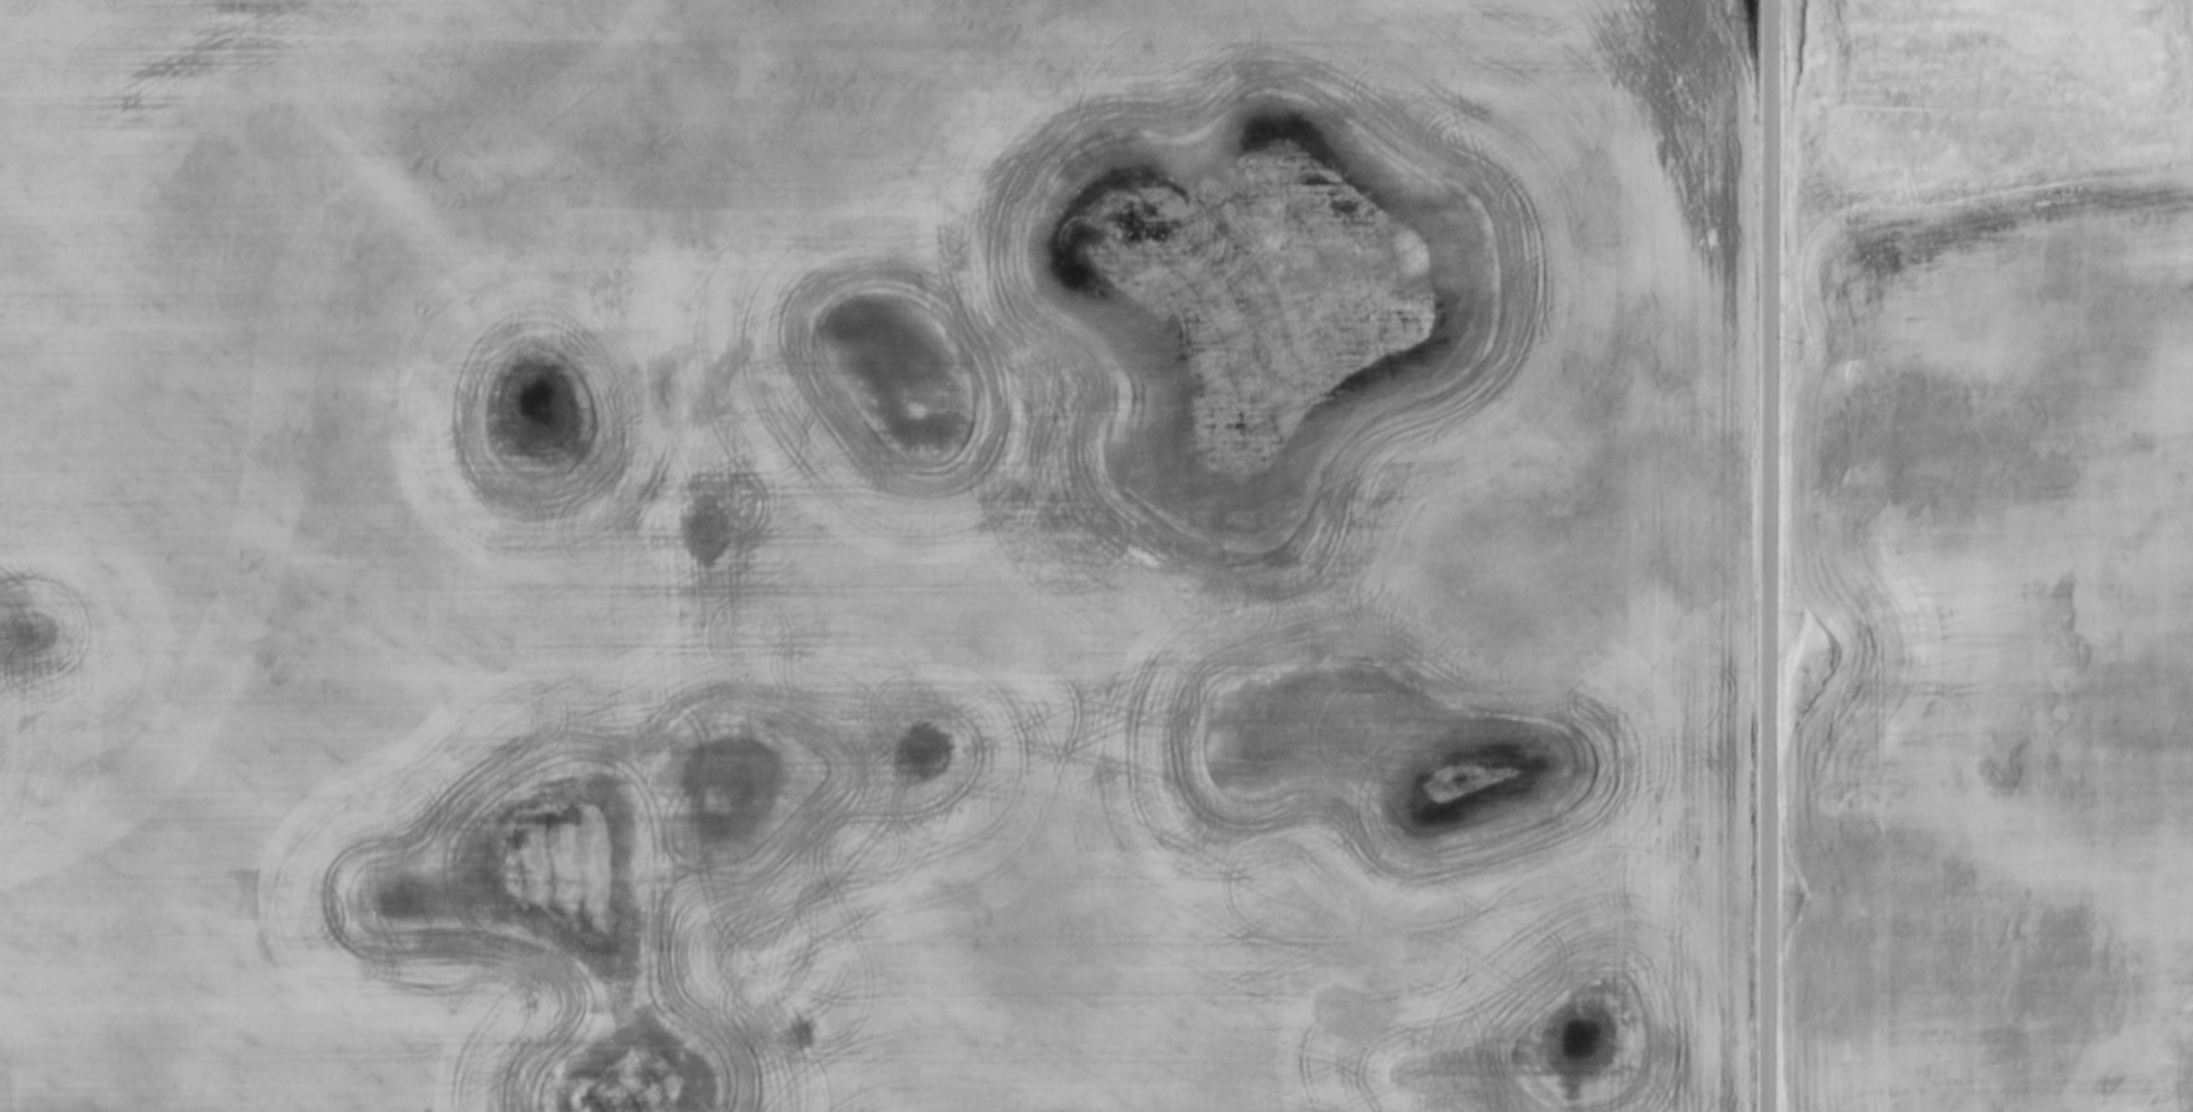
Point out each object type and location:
road: (1770, 556)

